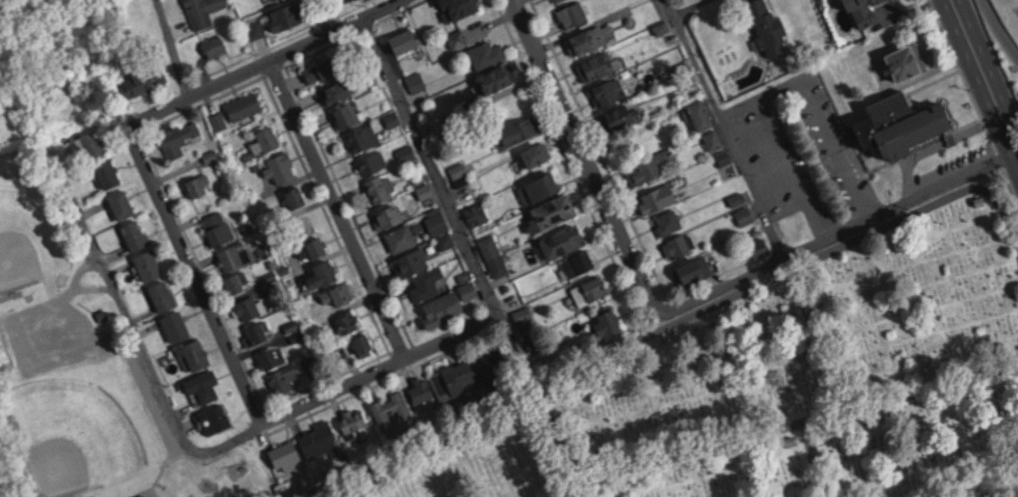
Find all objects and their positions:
building: (555, 0)
road: (686, 6)
building: (459, 7)
building: (203, 10)
building: (864, 11)
building: (574, 12)
building: (286, 14)
road: (326, 14)
building: (769, 25)
building: (257, 26)
road: (996, 27)
building: (458, 37)
building: (591, 37)
building: (405, 39)
building: (215, 44)
road: (171, 46)
building: (487, 52)
building: (908, 59)
road: (260, 60)
building: (597, 65)
building: (322, 67)
road: (987, 69)
building: (497, 76)
building: (146, 79)
building: (416, 80)
building: (338, 89)
road: (770, 89)
building: (608, 90)
building: (244, 104)
building: (347, 113)
building: (701, 113)
building: (620, 116)
building: (905, 123)
road: (728, 128)
building: (520, 129)
building: (180, 136)
building: (268, 136)
building: (363, 136)
building: (713, 138)
building: (94, 142)
road: (839, 150)
building: (535, 153)
building: (724, 156)
building: (373, 161)
road: (580, 161)
building: (283, 165)
road: (430, 167)
building: (648, 167)
road: (763, 168)
road: (790, 169)
building: (109, 172)
building: (198, 183)
building: (378, 187)
building: (539, 187)
building: (297, 196)
building: (660, 196)
building: (122, 203)
road: (335, 209)
building: (555, 210)
building: (745, 214)
building: (389, 216)
building: (667, 221)
building: (218, 227)
building: (136, 233)
park: (29, 235)
building: (401, 237)
road: (833, 238)
building: (564, 240)
building: (679, 245)
building: (314, 246)
building: (759, 246)
building: (232, 254)
building: (411, 262)
building: (579, 262)
building: (149, 264)
building: (694, 269)
road: (194, 271)
building: (324, 273)
building: (238, 280)
building: (427, 283)
building: (590, 290)
building: (339, 293)
building: (163, 294)
building: (249, 306)
building: (443, 307)
building: (348, 321)
building: (176, 324)
building: (609, 324)
building: (258, 331)
road: (139, 335)
building: (364, 344)
building: (195, 352)
building: (273, 355)
building: (310, 362)
road: (381, 370)
building: (283, 378)
building: (204, 384)
park: (773, 390)
building: (391, 408)
building: (216, 417)
building: (354, 419)
park: (77, 436)
building: (319, 438)
building: (286, 455)
building: (141, 495)

